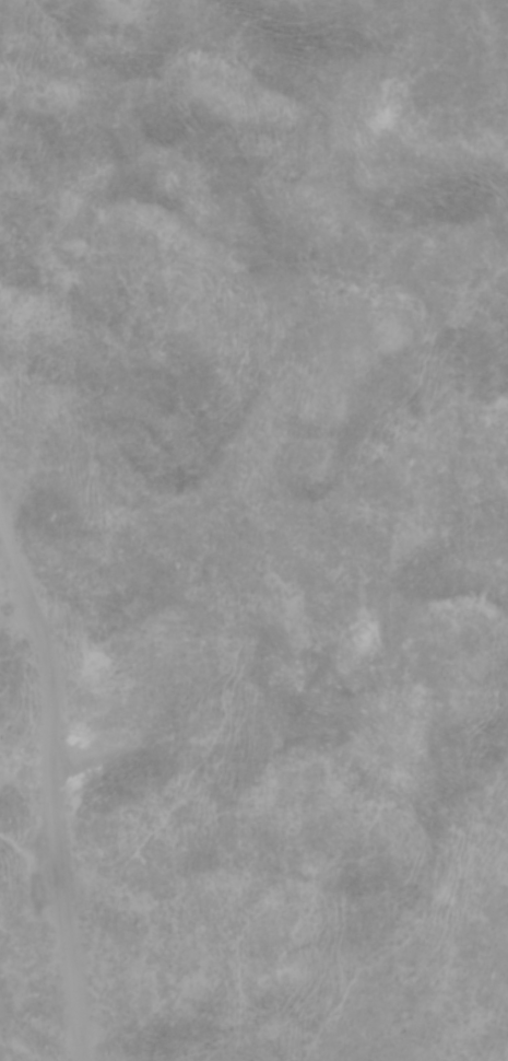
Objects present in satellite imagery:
road: (58, 788)

